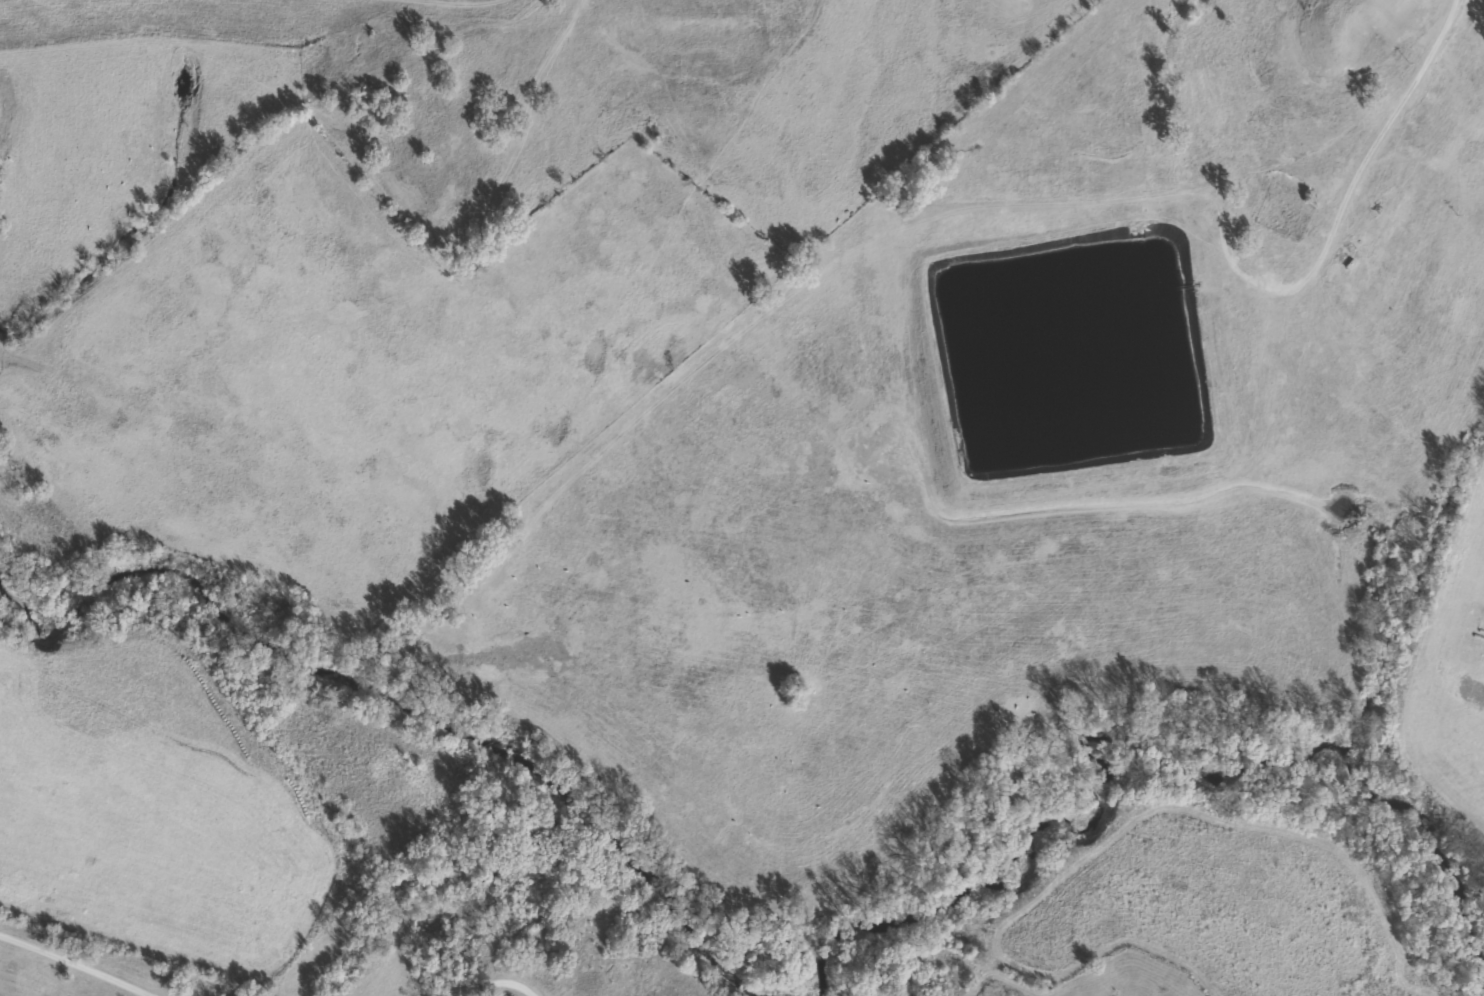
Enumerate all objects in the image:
road: (1418, 134)

